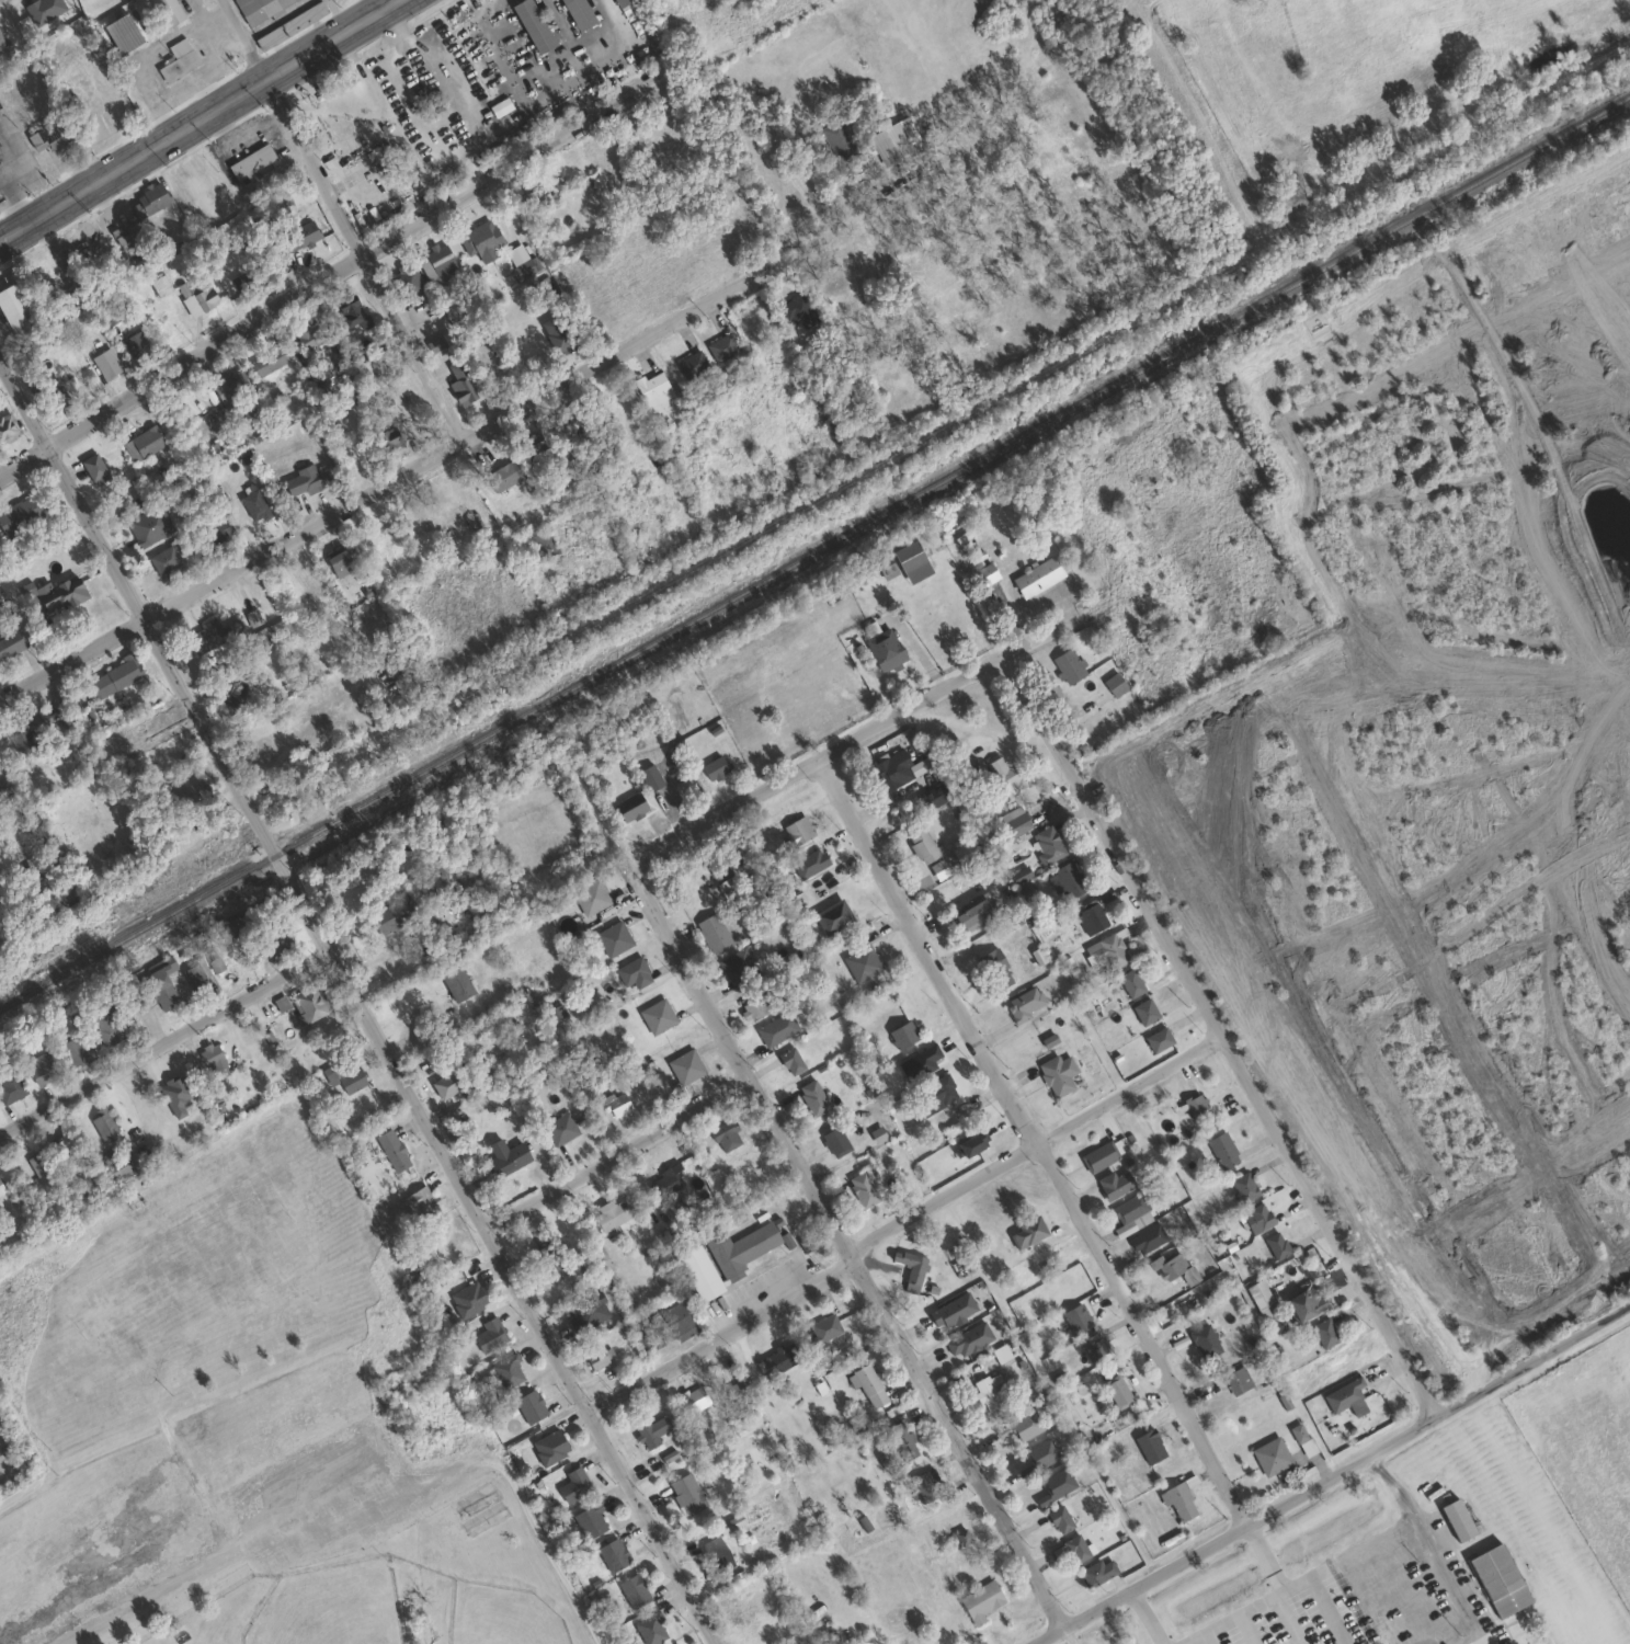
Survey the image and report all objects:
road: (379, 2)
building: (618, 2)
building: (257, 8)
building: (164, 11)
road: (343, 12)
building: (577, 12)
road: (273, 16)
building: (288, 23)
building: (531, 24)
building: (119, 32)
road: (243, 37)
building: (3, 46)
building: (172, 61)
road: (443, 87)
building: (498, 105)
road: (194, 117)
building: (49, 134)
building: (836, 138)
road: (12, 157)
building: (250, 160)
building: (357, 168)
road: (9, 192)
building: (0, 196)
building: (149, 197)
building: (534, 199)
road: (20, 208)
road: (835, 216)
building: (299, 235)
building: (479, 239)
building: (124, 240)
road: (361, 258)
building: (436, 264)
building: (37, 266)
road: (329, 272)
building: (247, 276)
building: (407, 279)
building: (158, 284)
building: (77, 294)
building: (195, 295)
building: (349, 308)
building: (14, 311)
building: (77, 321)
building: (556, 334)
building: (306, 336)
building: (757, 339)
building: (136, 344)
building: (720, 346)
building: (104, 362)
building: (689, 364)
building: (314, 381)
building: (229, 384)
building: (650, 386)
building: (460, 387)
building: (50, 391)
building: (606, 411)
building: (5, 426)
building: (811, 433)
building: (388, 437)
building: (141, 443)
building: (533, 444)
building: (353, 461)
building: (92, 468)
building: (502, 475)
building: (303, 479)
road: (386, 480)
building: (603, 482)
building: (443, 495)
building: (257, 503)
building: (18, 515)
building: (149, 527)
building: (217, 532)
building: (373, 538)
building: (543, 544)
railway: (814, 548)
building: (162, 559)
building: (886, 568)
building: (1036, 576)
building: (308, 580)
building: (57, 593)
building: (203, 636)
building: (10, 642)
building: (884, 649)
road: (1014, 649)
building: (1067, 664)
building: (112, 677)
building: (1114, 684)
building: (235, 698)
building: (32, 728)
road: (809, 760)
building: (714, 767)
building: (890, 769)
building: (1003, 774)
building: (185, 790)
building: (932, 796)
building: (1014, 823)
building: (795, 831)
building: (921, 845)
building: (1046, 845)
building: (809, 863)
building: (1018, 874)
building: (1067, 878)
building: (722, 879)
building: (590, 897)
building: (972, 911)
building: (389, 914)
building: (831, 916)
building: (1093, 916)
building: (228, 928)
building: (713, 933)
building: (613, 938)
building: (272, 940)
building: (1107, 950)
building: (860, 962)
building: (737, 967)
building: (994, 968)
building: (631, 972)
building: (193, 977)
building: (455, 982)
building: (1129, 983)
building: (160, 991)
building: (141, 1002)
building: (309, 1002)
road: (358, 1004)
building: (1024, 1004)
building: (756, 1006)
building: (1143, 1012)
building: (656, 1016)
building: (104, 1027)
building: (775, 1028)
road: (1224, 1031)
building: (902, 1034)
building: (1156, 1039)
road: (163, 1041)
building: (72, 1052)
building: (208, 1054)
building: (789, 1061)
building: (41, 1066)
building: (684, 1066)
building: (1056, 1074)
building: (351, 1080)
building: (447, 1083)
building: (10, 1086)
building: (933, 1093)
building: (811, 1097)
building: (615, 1104)
building: (1194, 1105)
building: (101, 1122)
building: (559, 1128)
building: (725, 1137)
road: (1033, 1138)
building: (834, 1141)
building: (60, 1150)
building: (391, 1150)
building: (1221, 1150)
road: (618, 1156)
building: (1097, 1157)
building: (37, 1162)
building: (500, 1163)
building: (113, 1169)
building: (1113, 1185)
building: (663, 1186)
building: (1241, 1186)
building: (862, 1189)
building: (1, 1190)
building: (420, 1201)
building: (1129, 1210)
building: (611, 1213)
road: (901, 1217)
building: (1255, 1218)
building: (1023, 1233)
building: (1145, 1238)
building: (1275, 1244)
building: (739, 1249)
road: (846, 1251)
building: (547, 1263)
building: (583, 1265)
building: (1171, 1268)
building: (909, 1269)
building: (698, 1272)
building: (1257, 1294)
building: (466, 1300)
building: (1309, 1301)
building: (950, 1311)
building: (585, 1313)
building: (1075, 1318)
building: (681, 1325)
building: (823, 1328)
building: (1323, 1333)
building: (487, 1335)
building: (665, 1335)
building: (967, 1340)
building: (1204, 1342)
building: (1093, 1346)
building: (782, 1357)
building: (596, 1358)
building: (506, 1371)
building: (1235, 1381)
building: (171, 1382)
building: (868, 1385)
building: (988, 1391)
building: (1115, 1392)
building: (1343, 1395)
building: (691, 1400)
building: (528, 1406)
building: (650, 1430)
building: (902, 1440)
building: (1149, 1446)
building: (548, 1447)
road: (387, 1454)
building: (1269, 1455)
road: (1330, 1474)
building: (925, 1483)
building: (572, 1484)
building: (685, 1493)
building: (1058, 1517)
building: (1456, 1519)
building: (589, 1520)
building: (964, 1537)
road: (1438, 1542)
building: (1070, 1548)
building: (612, 1553)
building: (716, 1553)
building: (1096, 1571)
building: (1497, 1579)
building: (632, 1588)
road: (156, 1590)
road: (1323, 1596)
road: (1272, 1598)
building: (979, 1600)
road: (1145, 1616)
building: (650, 1626)

